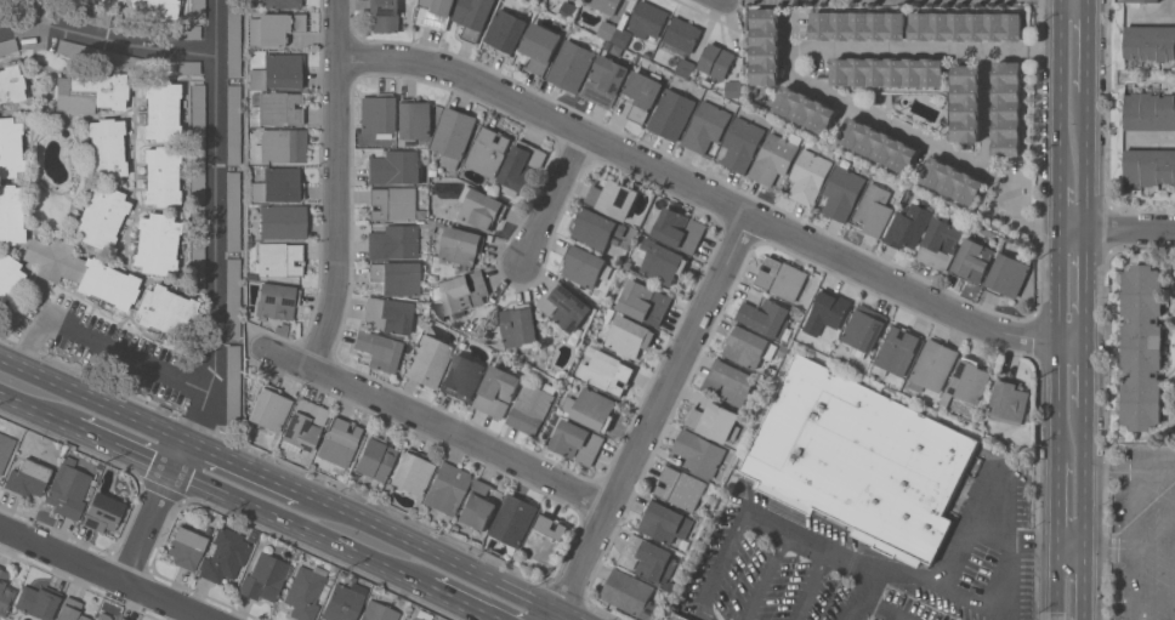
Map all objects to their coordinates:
building: (1141, 0)
building: (90, 1)
building: (102, 1)
building: (282, 4)
building: (604, 5)
building: (154, 8)
building: (197, 8)
road: (1174, 10)
building: (568, 11)
building: (435, 13)
building: (84, 15)
building: (384, 15)
building: (473, 17)
building: (647, 19)
road: (1153, 21)
building: (135, 25)
building: (858, 25)
building: (966, 25)
building: (278, 27)
building: (180, 32)
building: (505, 32)
building: (614, 33)
building: (233, 38)
road: (107, 40)
building: (1150, 41)
building: (681, 42)
building: (7, 45)
road: (1088, 45)
building: (539, 46)
building: (765, 46)
road: (788, 47)
road: (887, 49)
building: (78, 50)
road: (1024, 51)
building: (120, 59)
building: (716, 61)
building: (571, 66)
building: (172, 67)
building: (278, 72)
building: (887, 72)
building: (604, 81)
building: (11, 84)
road: (1060, 89)
building: (733, 90)
building: (90, 92)
building: (642, 95)
building: (966, 103)
building: (280, 107)
building: (1006, 108)
building: (160, 109)
building: (804, 109)
road: (988, 112)
building: (1150, 112)
building: (376, 113)
building: (671, 114)
building: (413, 119)
building: (233, 124)
road: (884, 124)
building: (705, 126)
building: (453, 136)
building: (197, 142)
road: (1152, 142)
building: (280, 144)
building: (740, 144)
building: (878, 144)
building: (10, 147)
building: (106, 147)
building: (489, 150)
building: (774, 158)
road: (1086, 160)
building: (1148, 165)
building: (393, 166)
building: (521, 167)
building: (161, 175)
building: (808, 176)
building: (953, 181)
building: (278, 186)
road: (339, 187)
road: (702, 190)
building: (841, 193)
road: (1004, 193)
road: (216, 195)
road: (556, 198)
building: (614, 198)
building: (391, 203)
road: (1058, 204)
building: (481, 209)
building: (873, 209)
building: (232, 210)
building: (11, 214)
building: (101, 216)
building: (282, 221)
building: (908, 224)
building: (596, 229)
building: (679, 229)
road: (1072, 229)
road: (1130, 229)
building: (393, 241)
building: (155, 243)
building: (940, 244)
building: (461, 245)
building: (197, 250)
building: (280, 258)
building: (972, 260)
building: (663, 263)
building: (586, 267)
building: (81, 271)
road: (1085, 272)
building: (7, 274)
building: (1007, 275)
building: (396, 277)
building: (782, 278)
road: (1058, 284)
building: (462, 292)
building: (232, 297)
building: (276, 300)
building: (643, 302)
building: (564, 306)
building: (168, 311)
building: (828, 312)
building: (387, 314)
building: (767, 318)
building: (520, 325)
road: (1084, 326)
building: (864, 329)
building: (628, 336)
road: (1071, 340)
building: (748, 347)
building: (1141, 347)
building: (378, 349)
building: (898, 349)
building: (783, 351)
road: (127, 353)
building: (428, 360)
building: (933, 365)
building: (607, 372)
road: (1084, 372)
building: (461, 377)
building: (730, 382)
building: (967, 382)
building: (232, 383)
building: (496, 391)
road: (93, 399)
road: (1058, 400)
building: (1009, 402)
building: (568, 405)
building: (268, 408)
building: (530, 409)
building: (594, 409)
road: (36, 413)
road: (657, 413)
building: (715, 420)
building: (302, 425)
road: (442, 428)
building: (577, 442)
building: (339, 443)
building: (5, 449)
road: (124, 450)
building: (699, 451)
building: (375, 459)
building: (861, 460)
road: (243, 467)
road: (1150, 468)
building: (411, 472)
road: (1084, 474)
building: (27, 477)
building: (447, 488)
building: (680, 488)
building: (67, 489)
road: (1057, 502)
building: (477, 506)
building: (102, 512)
road: (1130, 512)
road: (157, 513)
building: (513, 522)
building: (664, 522)
road: (291, 527)
building: (545, 539)
road: (810, 540)
road: (1012, 540)
road: (1071, 544)
building: (185, 547)
road: (431, 552)
building: (225, 554)
road: (1135, 557)
building: (648, 558)
road: (721, 565)
road: (102, 574)
road: (764, 574)
road: (1174, 575)
road: (923, 576)
building: (263, 578)
road: (1057, 581)
road: (1083, 581)
building: (7, 588)
building: (305, 591)
building: (631, 593)
building: (38, 601)
road: (450, 601)
building: (342, 602)
road: (870, 604)
building: (69, 610)
building: (378, 612)
road: (561, 615)
road: (572, 615)
building: (102, 616)
building: (675, 616)
building: (685, 616)
building: (119, 619)
building: (415, 619)

